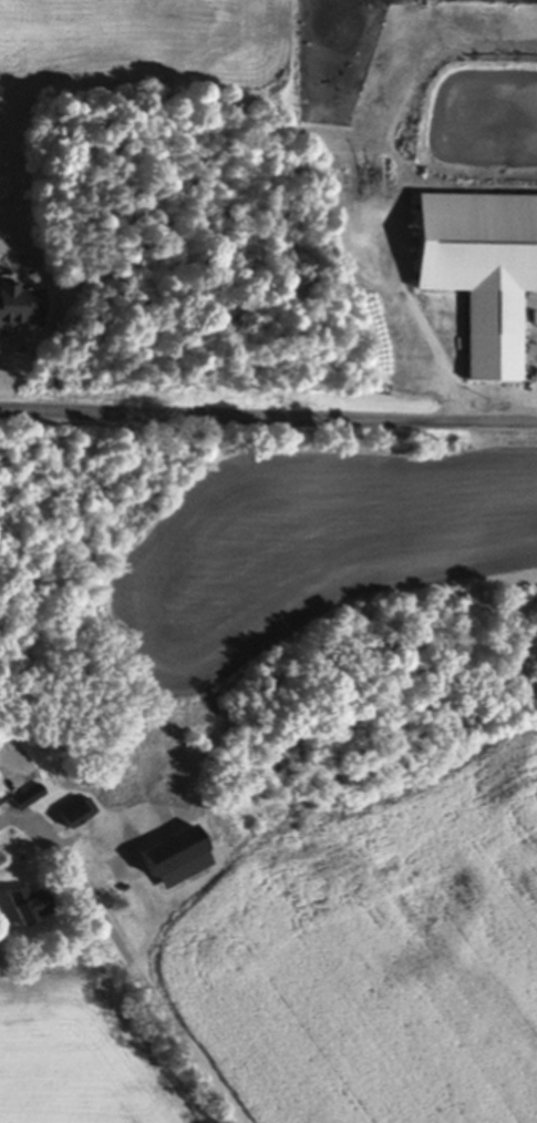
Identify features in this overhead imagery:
building: (479, 270)
building: (19, 305)
road: (530, 407)
road: (268, 422)
building: (533, 639)
building: (31, 794)
building: (70, 811)
building: (173, 859)
building: (23, 905)
road: (148, 991)

